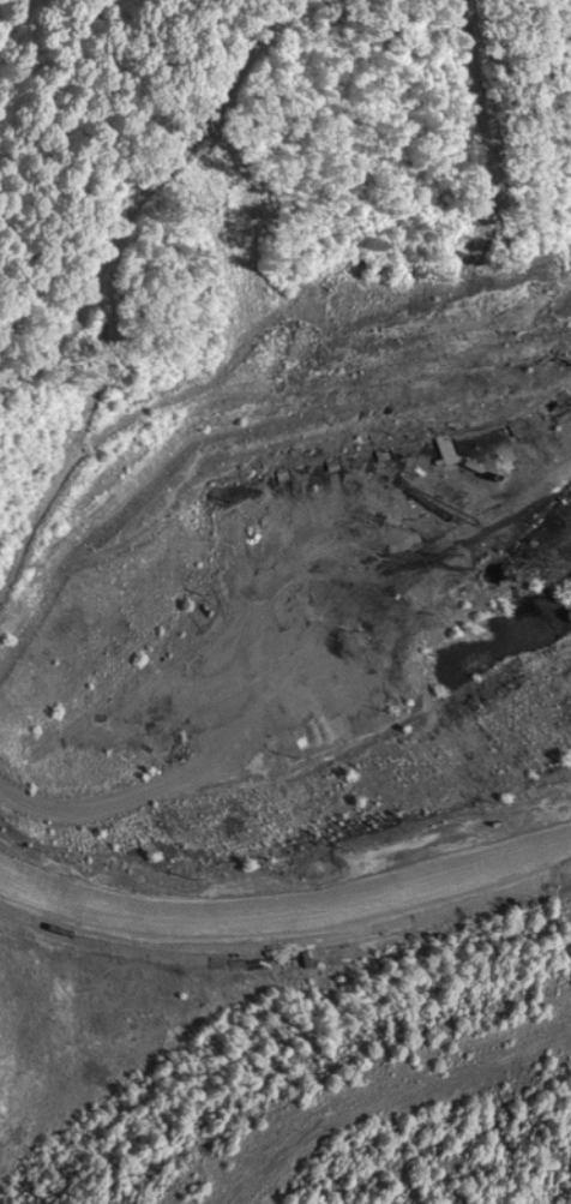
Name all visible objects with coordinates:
road: (70, 125)
quarry: (290, 664)

